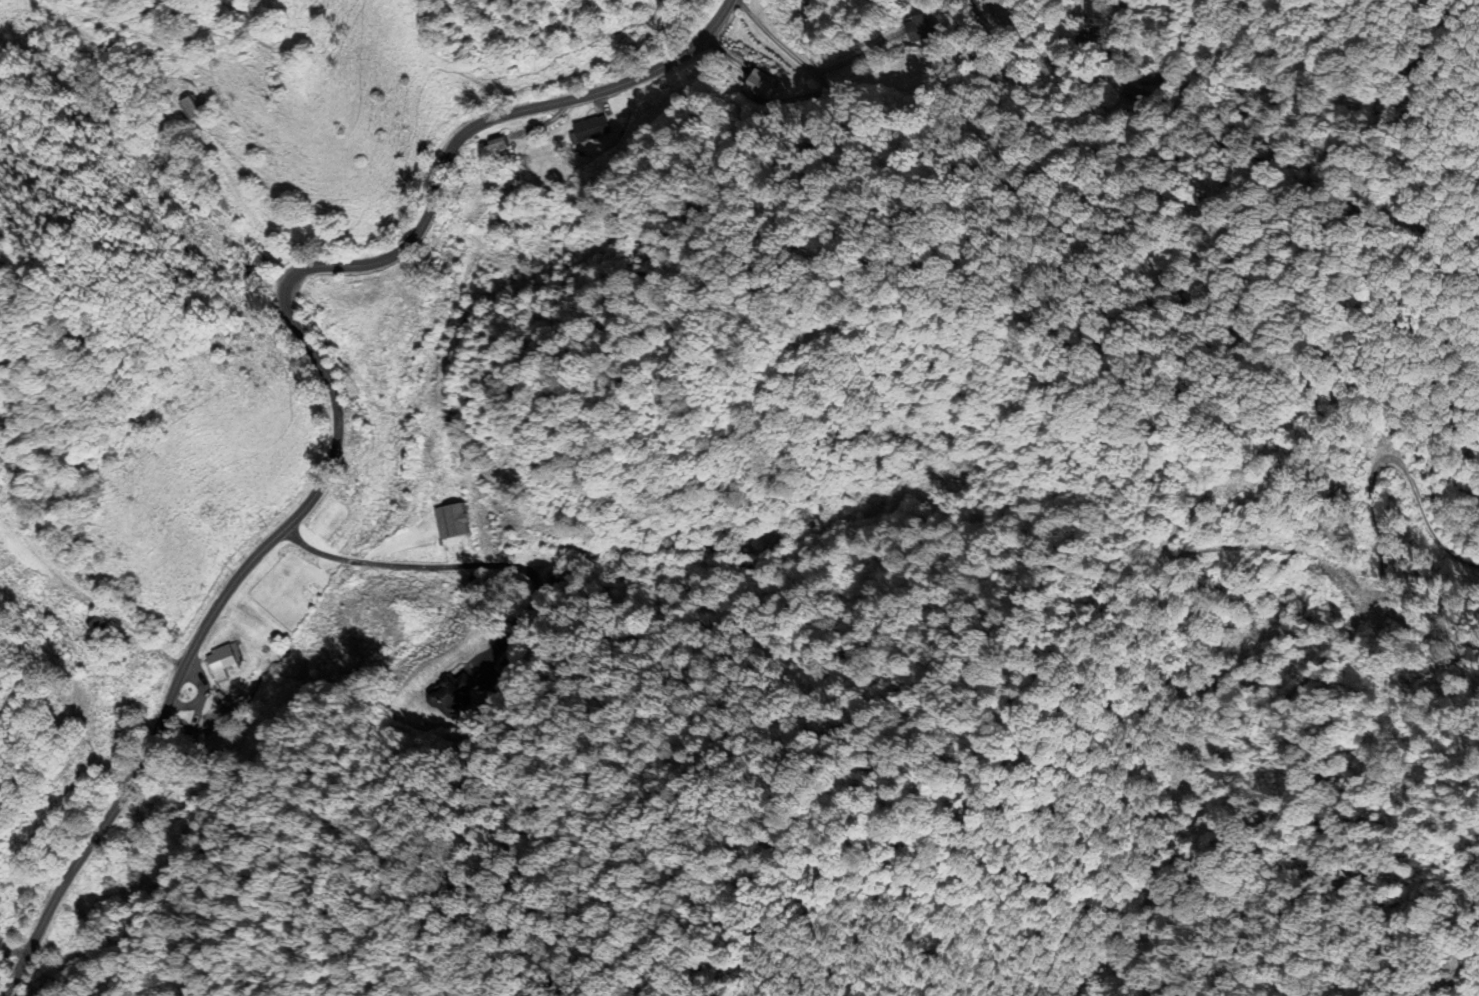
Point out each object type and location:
building: (931, 29)
road: (1153, 38)
road: (811, 68)
building: (189, 108)
building: (587, 131)
building: (500, 143)
road: (335, 397)
building: (453, 520)
road: (379, 563)
building: (98, 624)
building: (219, 658)
building: (458, 692)

